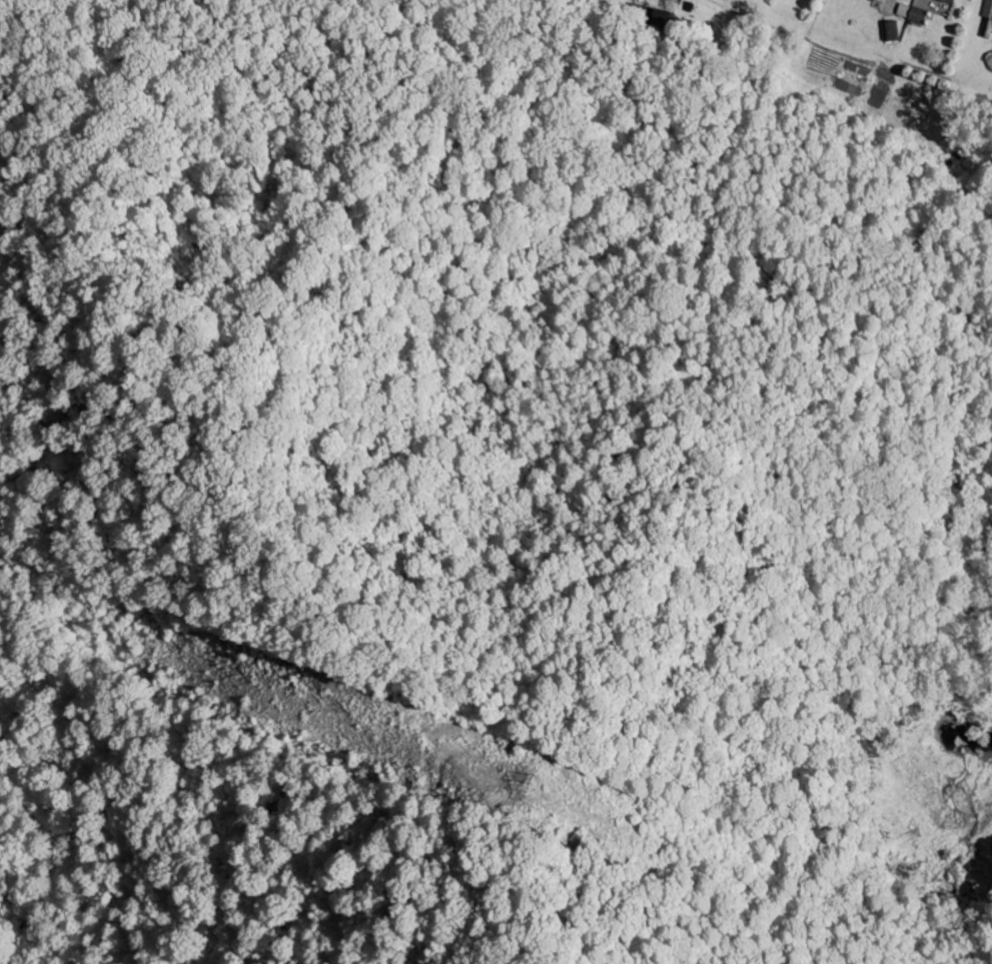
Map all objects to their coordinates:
building: (949, 1)
building: (903, 11)
building: (920, 11)
building: (987, 19)
building: (890, 31)
power tower: (537, 788)

